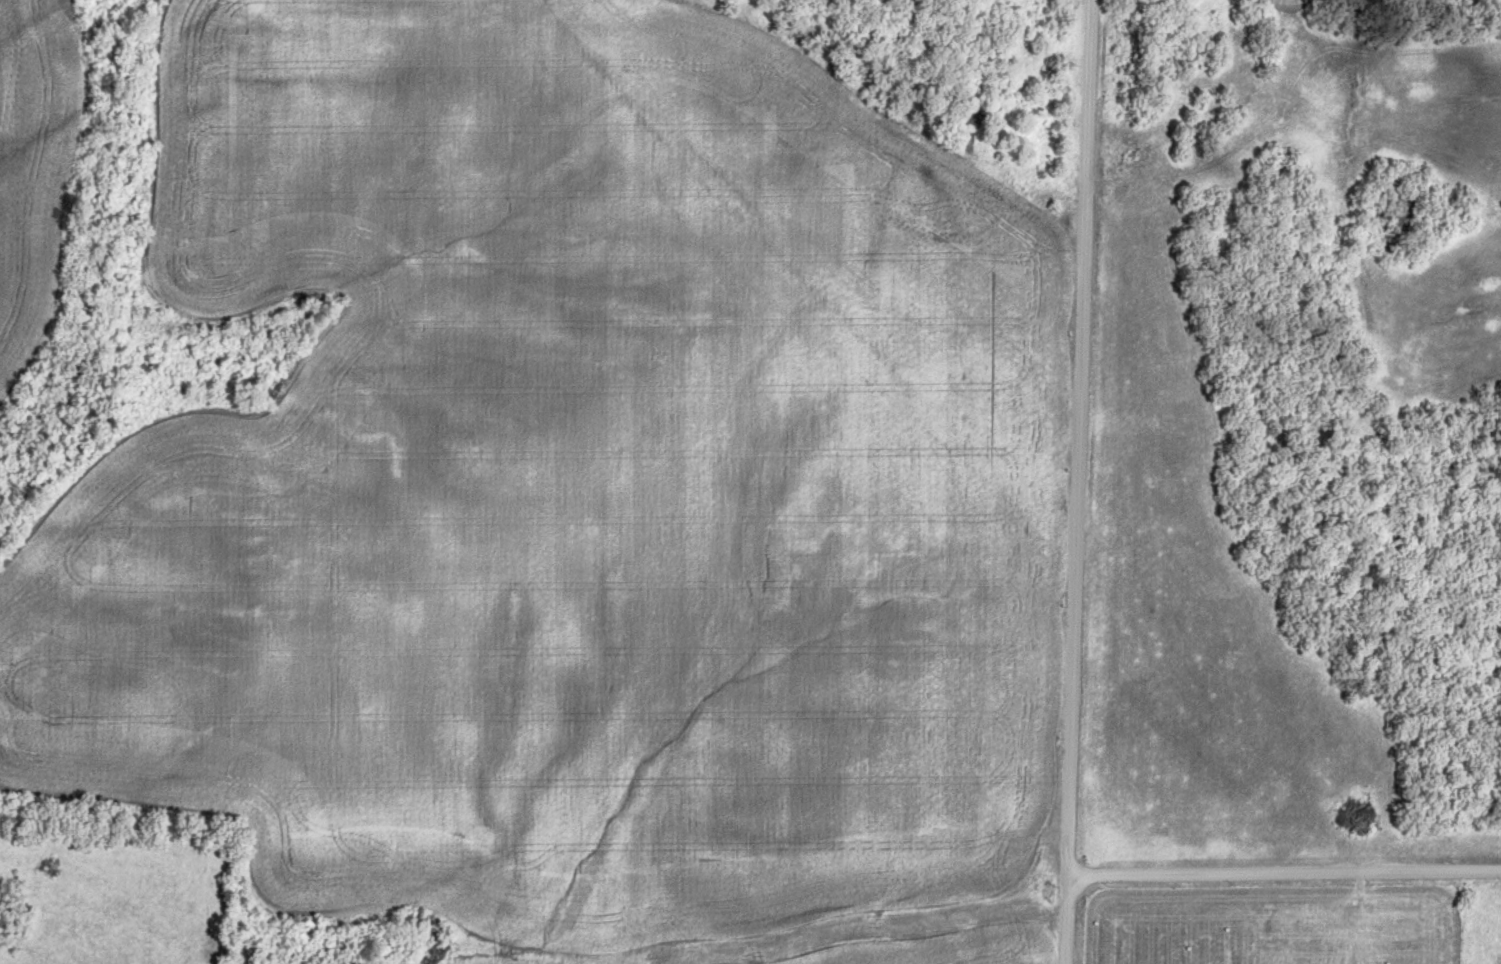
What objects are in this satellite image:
road: (1079, 482)
road: (1285, 863)

